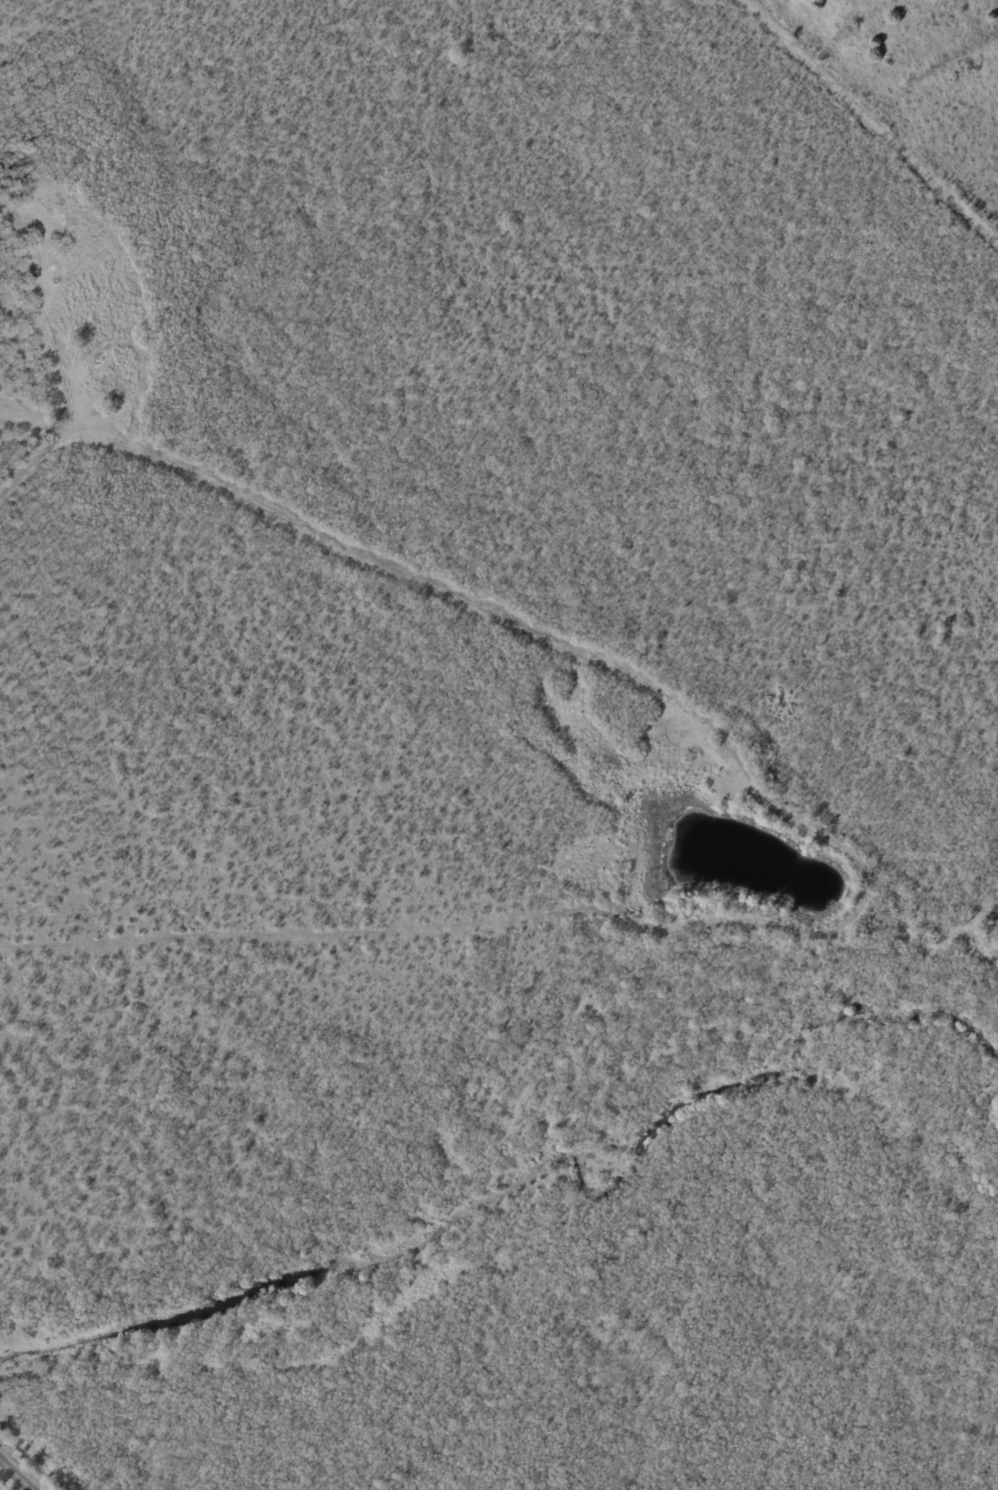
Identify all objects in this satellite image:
building: (9, 179)
road: (15, 1475)

